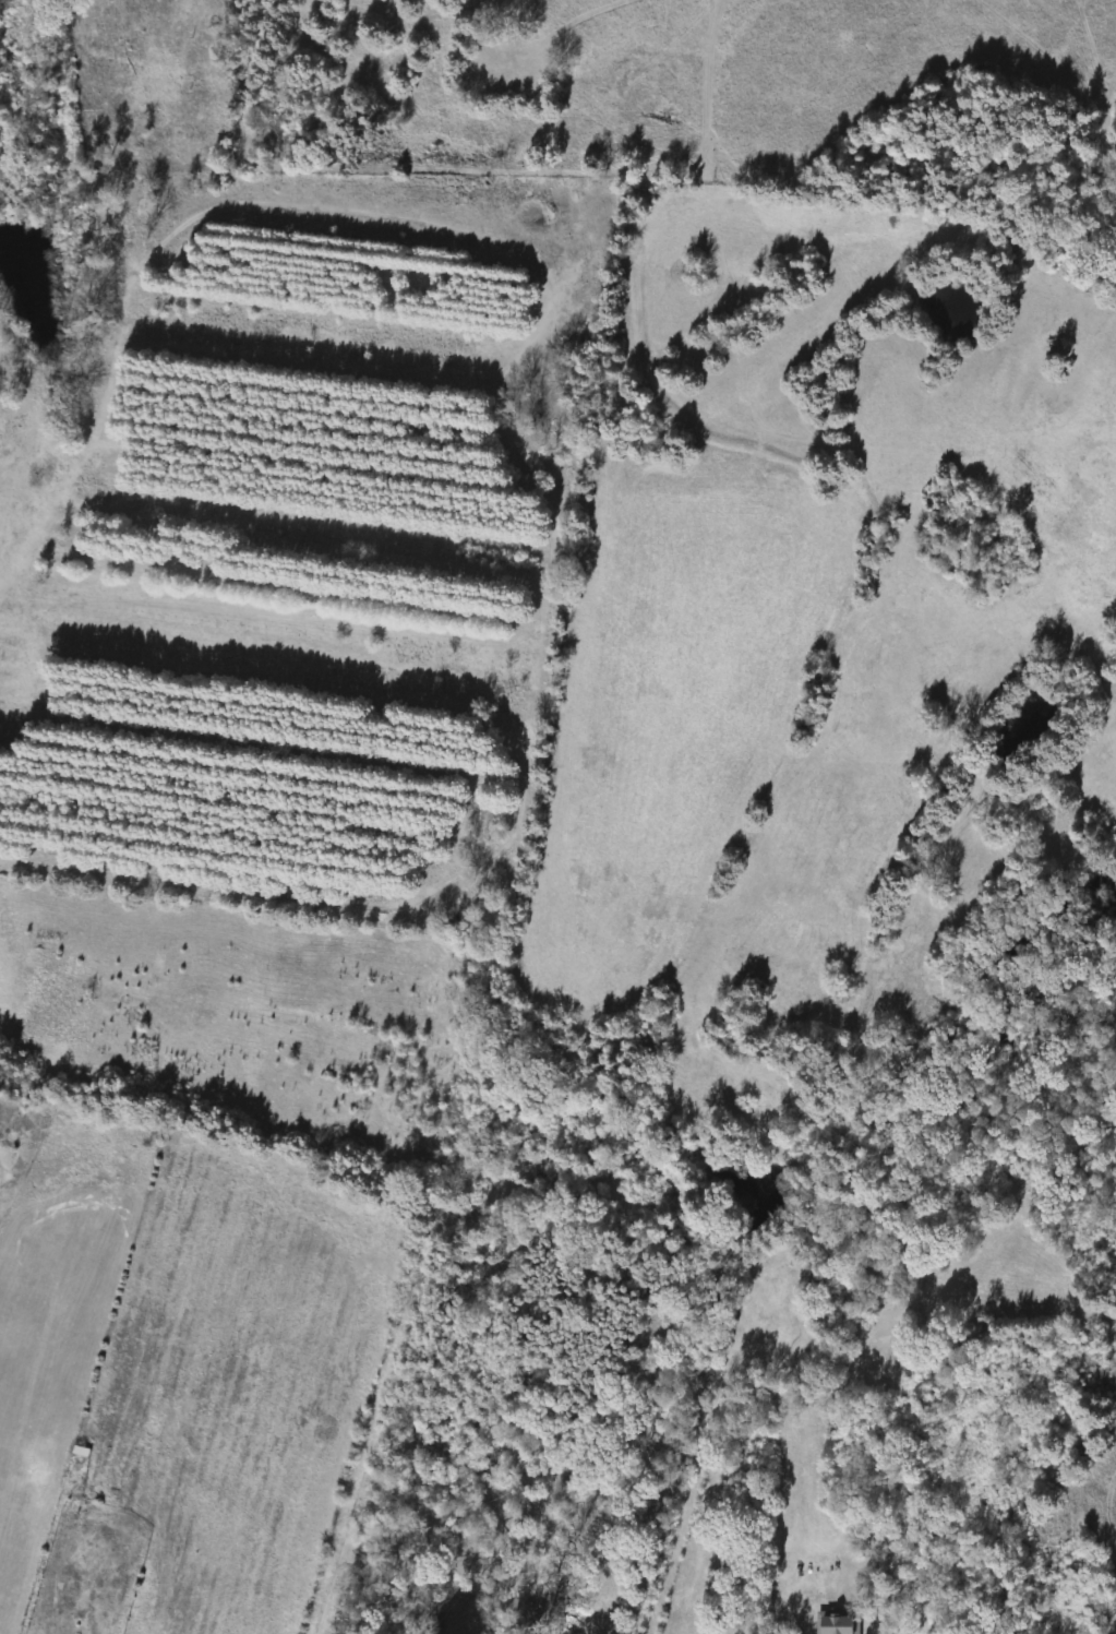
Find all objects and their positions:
building: (838, 1622)

